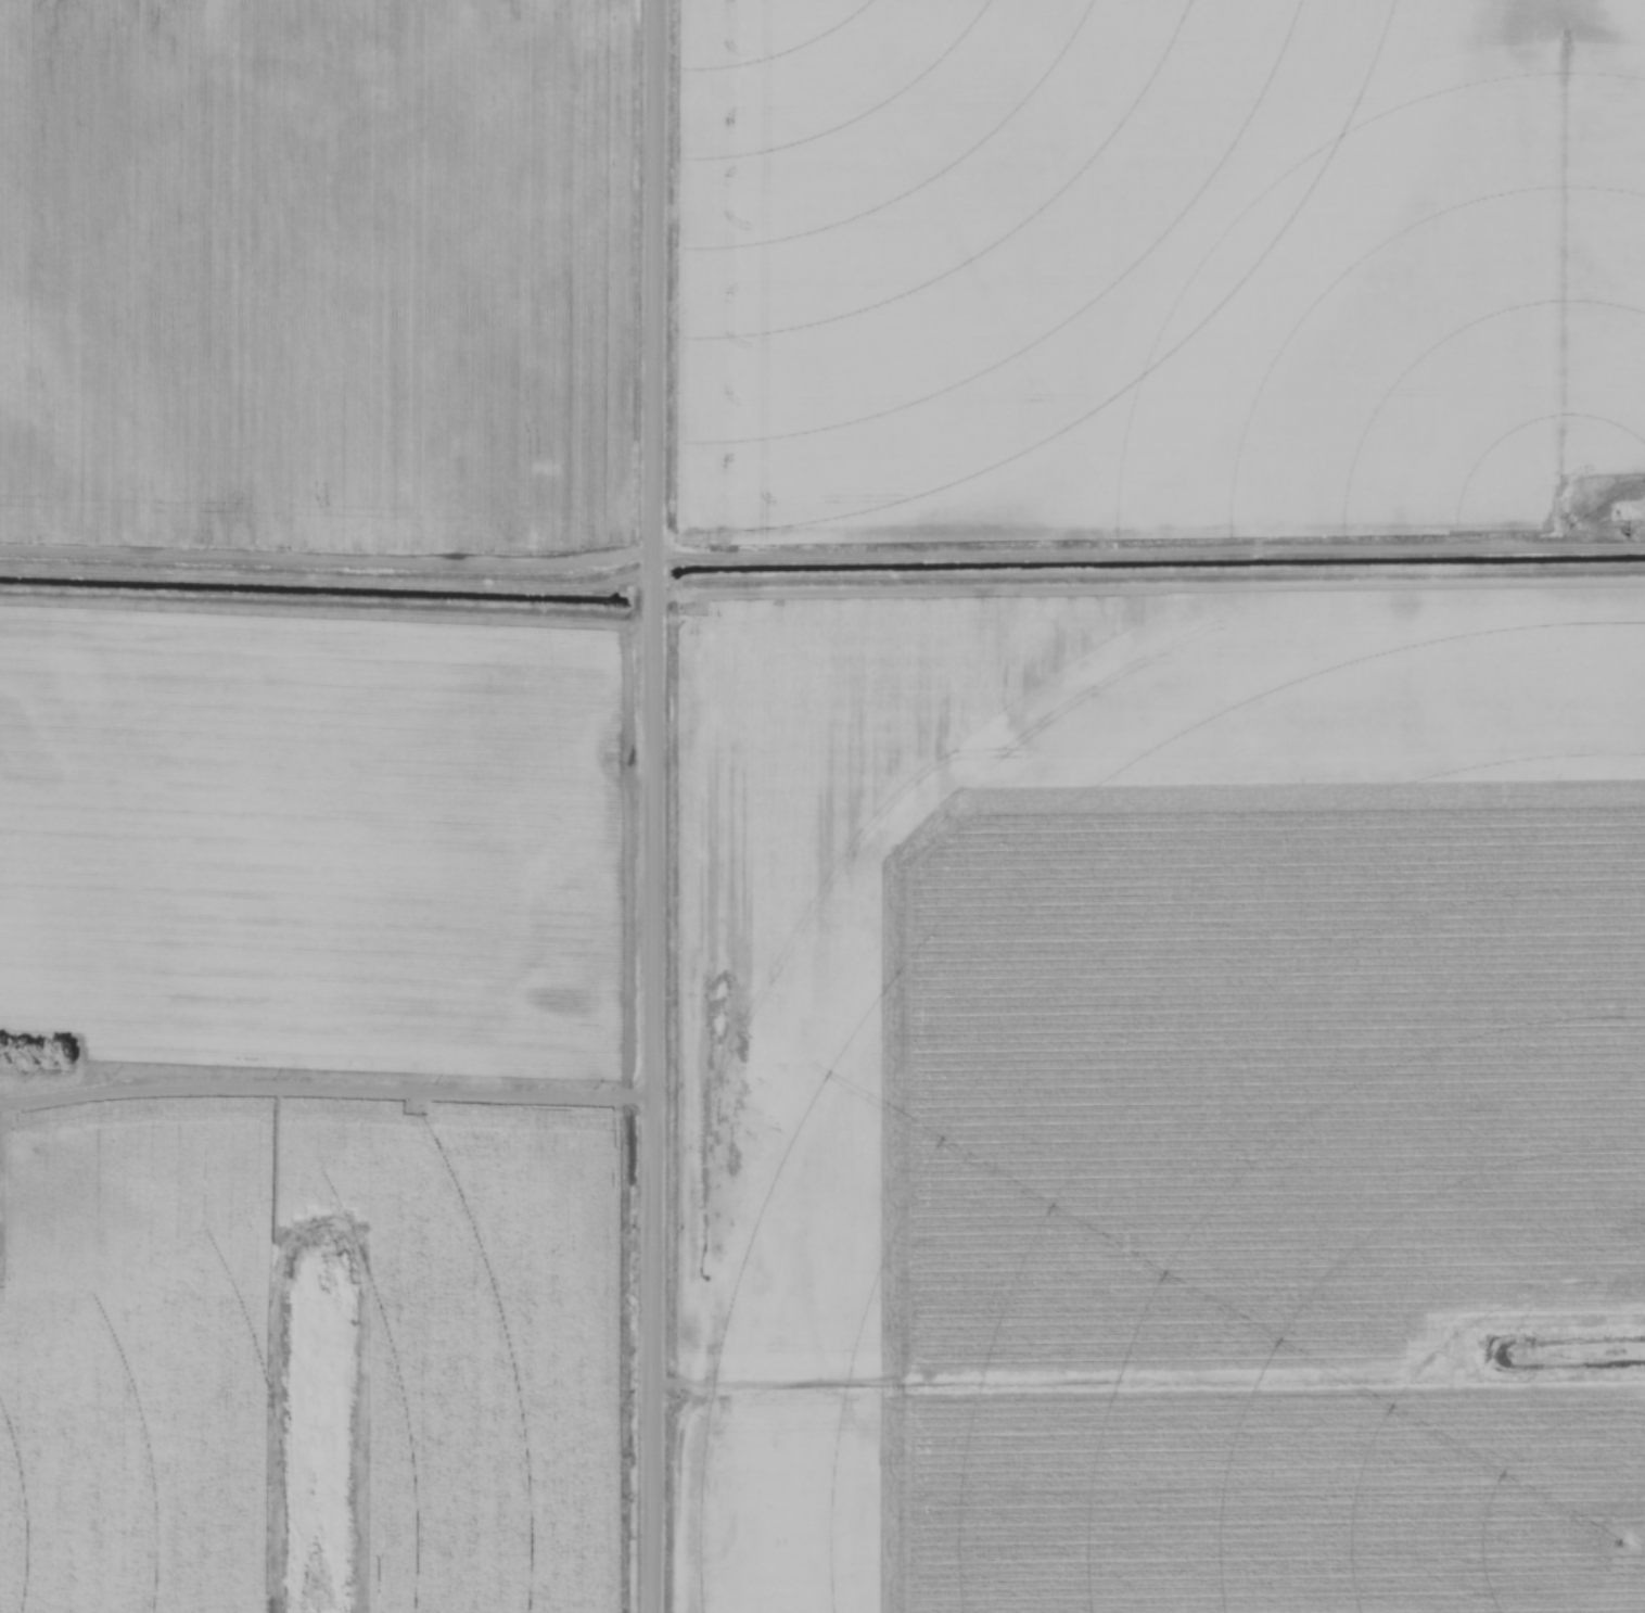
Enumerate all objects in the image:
crop: (1111, 261)
crop: (318, 271)
road: (643, 805)
crop: (314, 833)
road: (319, 1091)

